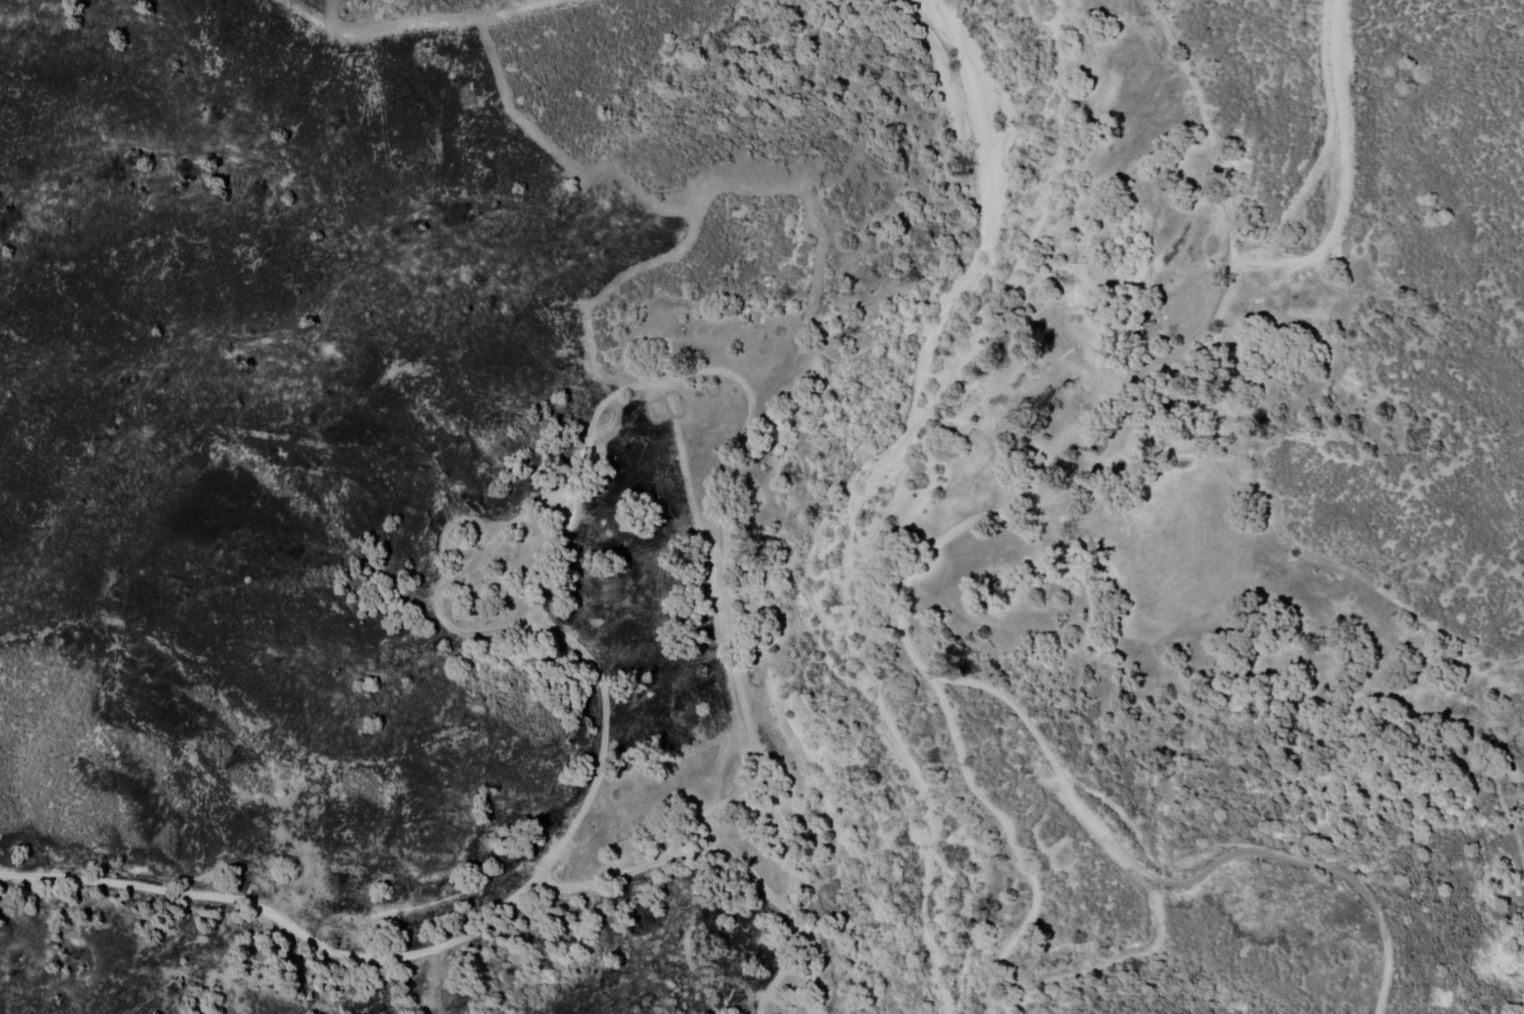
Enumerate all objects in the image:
road: (975, 766)
road: (458, 929)

